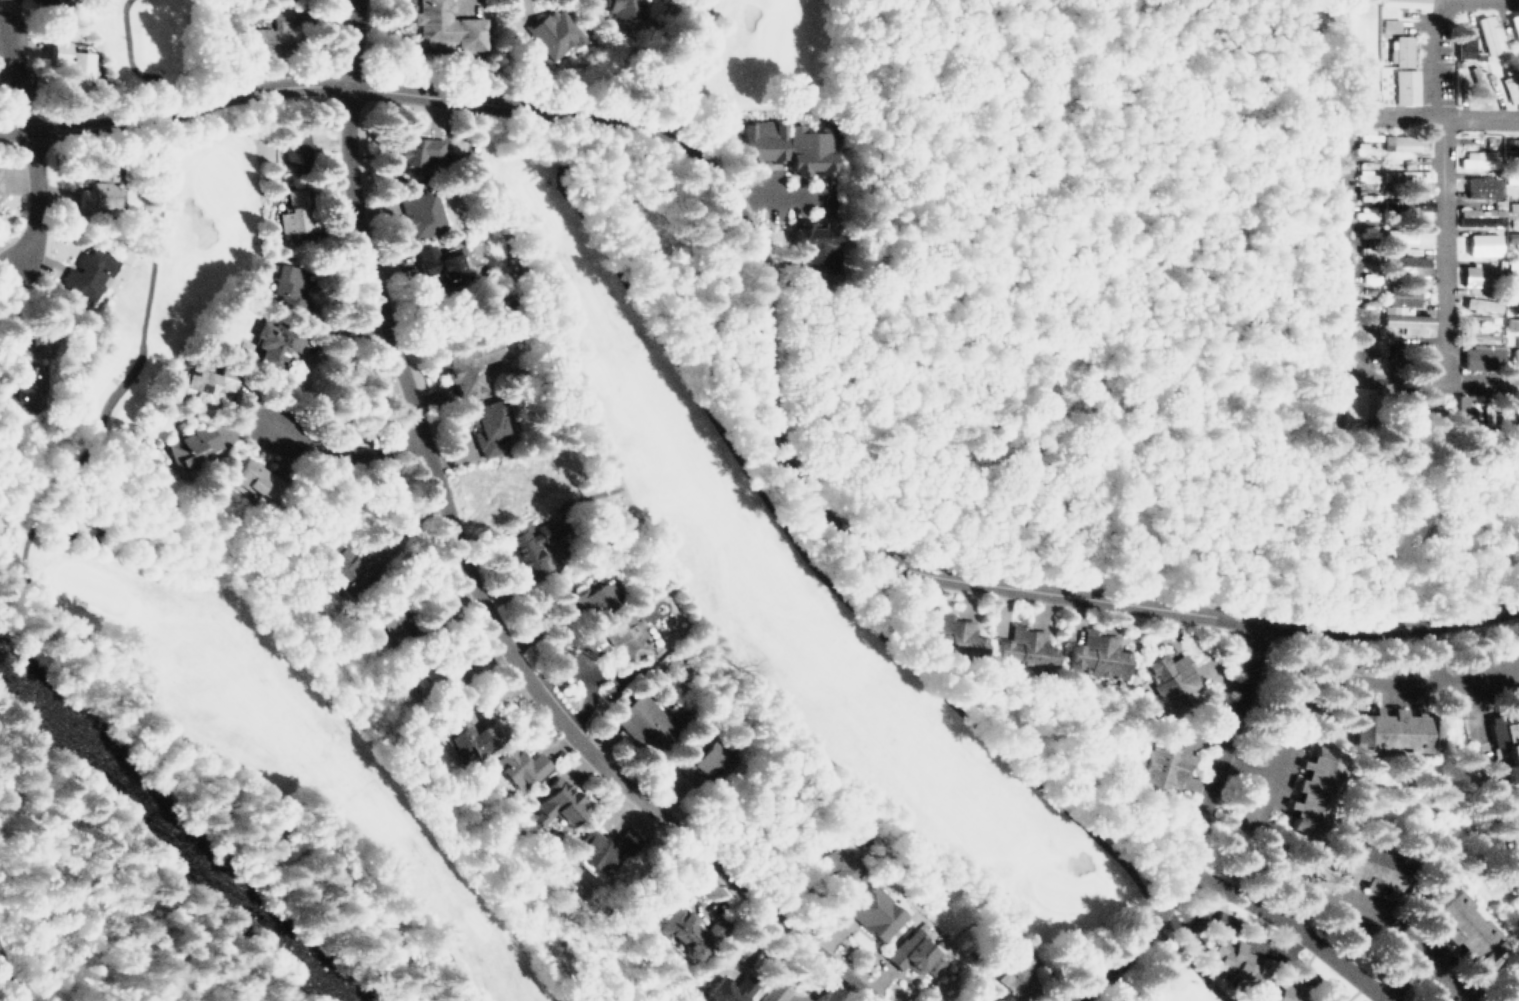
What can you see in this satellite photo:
building: (40, 2)
building: (1408, 3)
building: (625, 8)
building: (447, 25)
building: (1516, 26)
building: (553, 32)
building: (1486, 33)
building: (267, 34)
building: (1464, 41)
building: (1399, 49)
road: (1346, 57)
building: (68, 60)
road: (13, 79)
building: (1512, 84)
building: (1403, 85)
building: (755, 138)
building: (1400, 141)
building: (1514, 141)
building: (806, 147)
building: (292, 149)
building: (415, 149)
building: (1476, 157)
building: (1411, 174)
building: (0, 175)
building: (1517, 175)
road: (1440, 184)
building: (1481, 187)
building: (96, 188)
road: (1345, 194)
road: (33, 199)
building: (1512, 206)
building: (1422, 208)
building: (293, 209)
building: (421, 212)
building: (1480, 220)
building: (1399, 236)
building: (1511, 238)
building: (816, 243)
building: (1481, 245)
building: (439, 261)
building: (1515, 262)
building: (1409, 269)
building: (89, 273)
building: (1471, 273)
building: (288, 286)
building: (1402, 292)
building: (1478, 305)
building: (1408, 319)
building: (1511, 319)
building: (1479, 332)
building: (272, 339)
road: (763, 340)
building: (1513, 354)
building: (1482, 357)
building: (473, 361)
building: (204, 381)
road: (1481, 381)
building: (23, 383)
building: (1349, 409)
building: (1460, 410)
building: (485, 415)
building: (195, 439)
road: (341, 452)
park: (672, 458)
building: (252, 481)
park: (51, 501)
building: (525, 550)
building: (343, 570)
road: (471, 570)
building: (596, 597)
building: (381, 613)
building: (949, 635)
building: (632, 636)
building: (1022, 648)
building: (1098, 656)
road: (1448, 676)
road: (1340, 678)
building: (410, 679)
building: (1170, 681)
building: (644, 721)
building: (1387, 728)
building: (461, 741)
building: (1503, 751)
building: (702, 758)
building: (1163, 763)
building: (519, 767)
road: (1263, 773)
building: (1319, 792)
building: (552, 804)
road: (1193, 828)
river: (173, 834)
building: (622, 841)
building: (836, 859)
building: (1367, 868)
road: (1332, 898)
road: (1292, 904)
building: (875, 912)
building: (1221, 919)
building: (1461, 924)
road: (1290, 925)
building: (688, 928)
building: (1251, 939)
road: (1296, 946)
building: (913, 953)
building: (1010, 957)
building: (1238, 969)
road: (1402, 976)
road: (14, 979)
building: (1509, 982)
building: (729, 988)
building: (775, 992)
road: (1381, 999)

